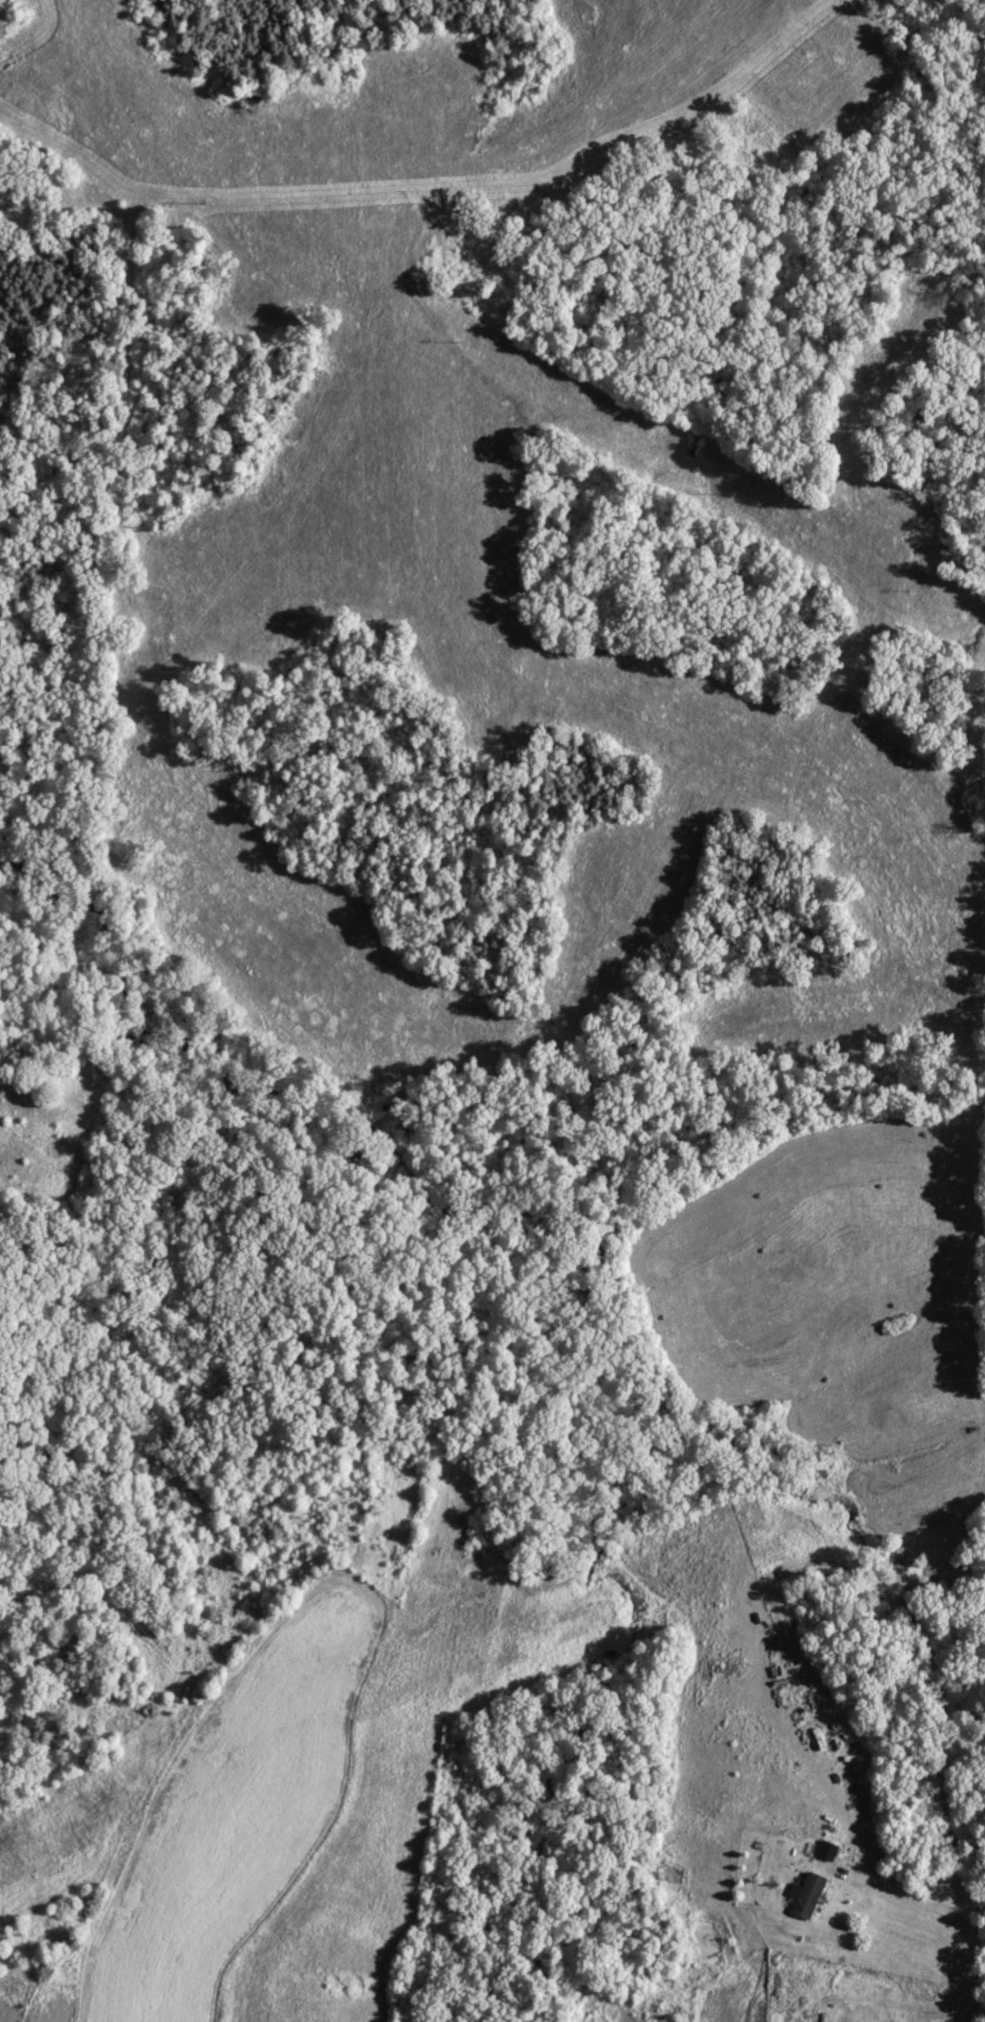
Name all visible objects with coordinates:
building: (829, 1848)
building: (810, 1893)

